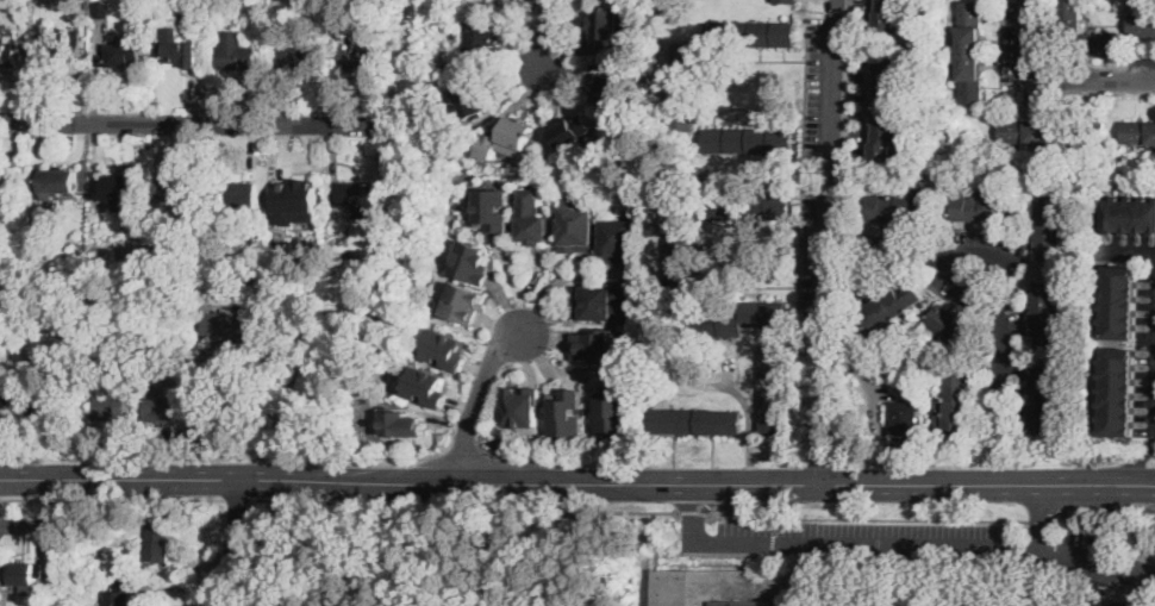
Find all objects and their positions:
building: (785, 0)
building: (206, 2)
building: (18, 8)
building: (101, 10)
building: (1070, 13)
building: (886, 14)
building: (1142, 23)
building: (608, 26)
road: (548, 32)
building: (750, 35)
building: (10, 37)
building: (482, 42)
building: (1103, 43)
building: (64, 51)
building: (236, 52)
building: (970, 52)
building: (7, 54)
building: (180, 54)
building: (121, 55)
building: (298, 57)
building: (355, 58)
building: (36, 60)
road: (1054, 79)
building: (685, 86)
building: (611, 88)
building: (470, 102)
building: (885, 107)
road: (191, 121)
road: (845, 129)
building: (574, 131)
building: (1028, 132)
building: (1138, 132)
building: (508, 139)
building: (747, 139)
building: (60, 181)
building: (8, 187)
building: (119, 188)
building: (176, 189)
building: (236, 194)
building: (360, 196)
building: (295, 200)
building: (745, 206)
building: (898, 207)
building: (986, 207)
building: (493, 208)
building: (1130, 215)
building: (532, 217)
building: (579, 224)
building: (1050, 229)
building: (43, 237)
building: (619, 239)
road: (830, 240)
road: (1135, 249)
building: (157, 251)
building: (351, 256)
building: (139, 258)
building: (64, 261)
building: (472, 261)
building: (678, 261)
road: (841, 273)
road: (982, 274)
building: (213, 277)
building: (464, 301)
building: (599, 301)
building: (1120, 302)
building: (295, 305)
building: (892, 305)
building: (1048, 313)
building: (741, 319)
building: (225, 325)
building: (951, 325)
road: (838, 331)
building: (597, 344)
building: (449, 349)
building: (430, 386)
building: (773, 389)
building: (868, 391)
building: (1119, 393)
road: (477, 396)
building: (939, 400)
building: (959, 400)
building: (1042, 400)
building: (46, 405)
building: (523, 405)
road: (1154, 405)
building: (2, 406)
building: (112, 407)
building: (163, 410)
road: (487, 410)
building: (613, 410)
building: (566, 412)
building: (1, 414)
road: (220, 417)
building: (905, 418)
building: (698, 421)
building: (405, 423)
road: (748, 423)
road: (1130, 467)
road: (346, 480)
road: (707, 482)
road: (773, 482)
road: (935, 483)
road: (1100, 483)
road: (1100, 496)
road: (112, 498)
road: (237, 499)
road: (693, 500)
road: (706, 500)
road: (464, 510)
road: (693, 511)
road: (1042, 514)
road: (867, 519)
road: (1042, 521)
road: (1109, 529)
road: (692, 531)
road: (773, 536)
building: (157, 541)
parking lot: (909, 541)
road: (233, 544)
road: (895, 544)
park: (693, 556)
road: (323, 560)
road: (1126, 566)
building: (25, 575)
road: (1035, 576)
building: (56, 579)
road: (1097, 582)
building: (679, 586)
building: (735, 589)
building: (121, 593)
building: (71, 594)
parking lot: (1054, 600)
building: (972, 605)

